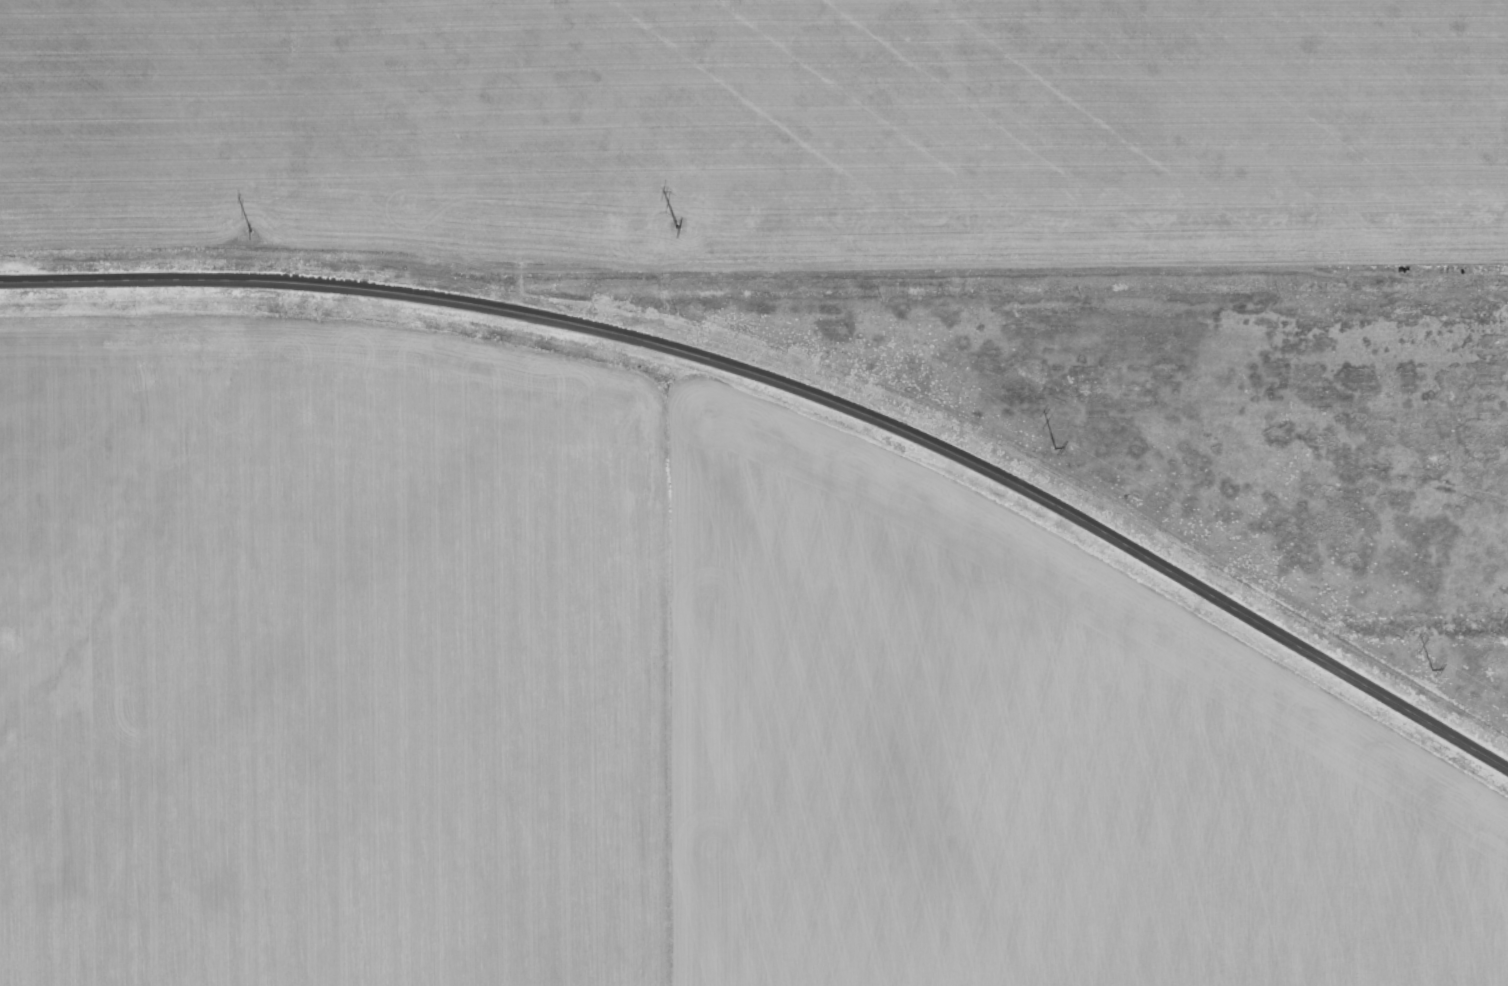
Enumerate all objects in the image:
power tower: (676, 226)
power tower: (249, 231)
road: (929, 276)
road: (796, 384)
power tower: (1054, 448)
power tower: (1432, 670)

